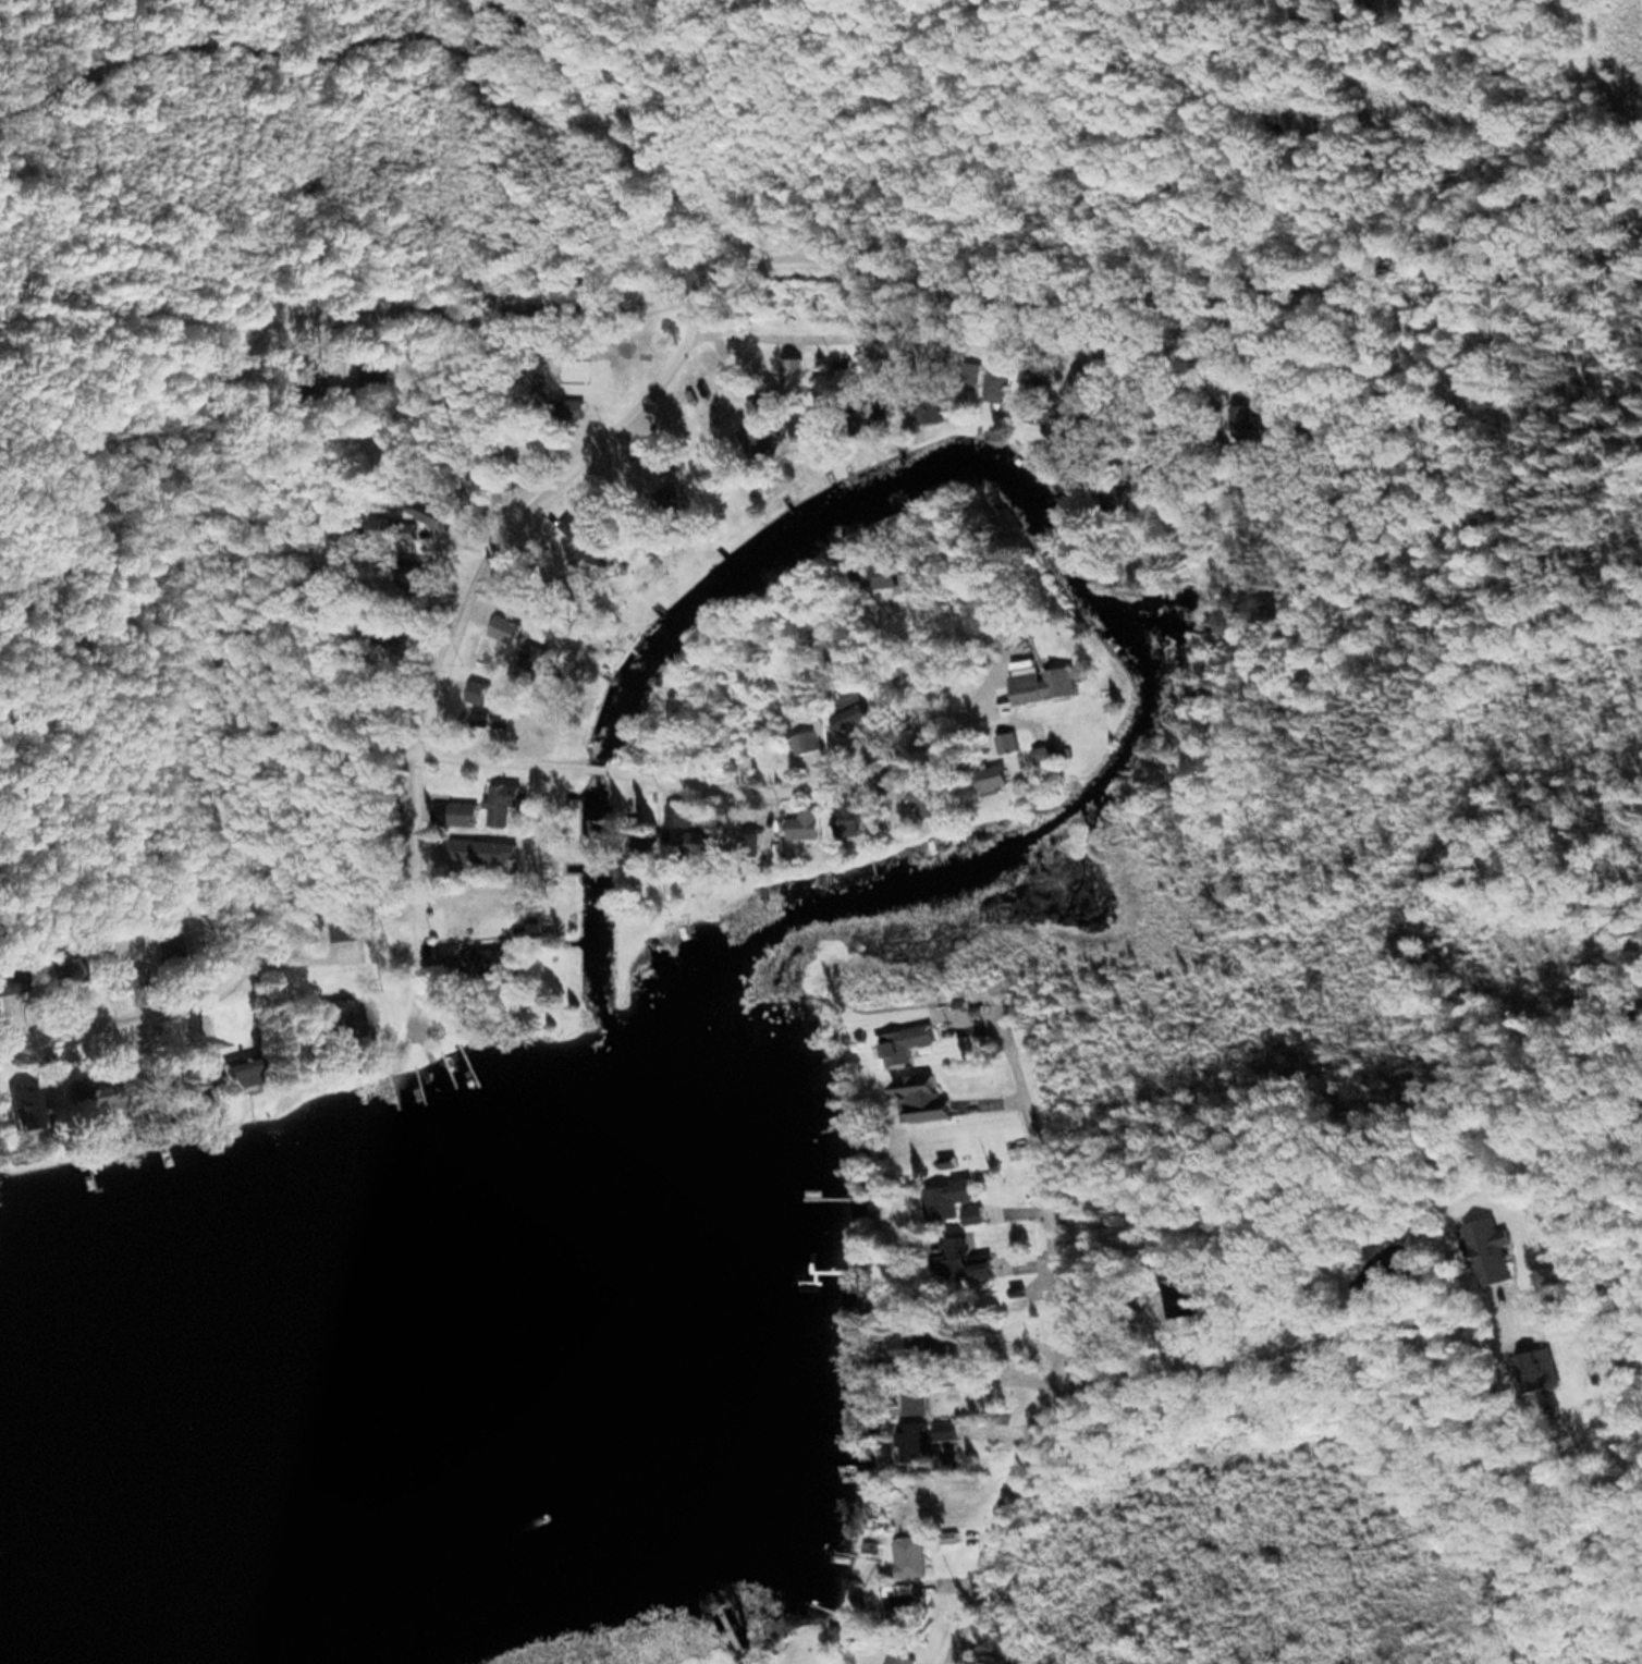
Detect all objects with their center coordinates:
road: (520, 298)
road: (934, 338)
building: (792, 370)
building: (368, 375)
building: (1029, 378)
building: (996, 382)
building: (304, 384)
building: (572, 407)
building: (935, 409)
building: (1241, 415)
building: (1272, 415)
building: (759, 426)
building: (427, 512)
building: (381, 528)
building: (590, 565)
building: (875, 576)
building: (415, 580)
road: (463, 617)
building: (503, 628)
building: (375, 635)
building: (539, 660)
building: (1042, 685)
building: (477, 690)
building: (853, 712)
building: (804, 742)
building: (1006, 743)
road: (415, 748)
building: (1041, 755)
road: (602, 770)
building: (993, 779)
road: (813, 783)
building: (500, 803)
building: (453, 813)
building: (678, 813)
building: (805, 823)
building: (641, 848)
building: (480, 851)
building: (166, 937)
building: (482, 958)
building: (58, 967)
building: (10, 994)
building: (340, 1014)
building: (904, 1042)
building: (240, 1074)
building: (189, 1085)
building: (922, 1094)
building: (90, 1098)
building: (945, 1198)
building: (970, 1214)
building: (1490, 1250)
building: (961, 1260)
road: (1070, 1331)
road: (1291, 1344)
building: (924, 1345)
building: (1541, 1369)
building: (923, 1402)
building: (949, 1430)
building: (921, 1439)
building: (914, 1555)
building: (904, 1598)
building: (898, 1659)

